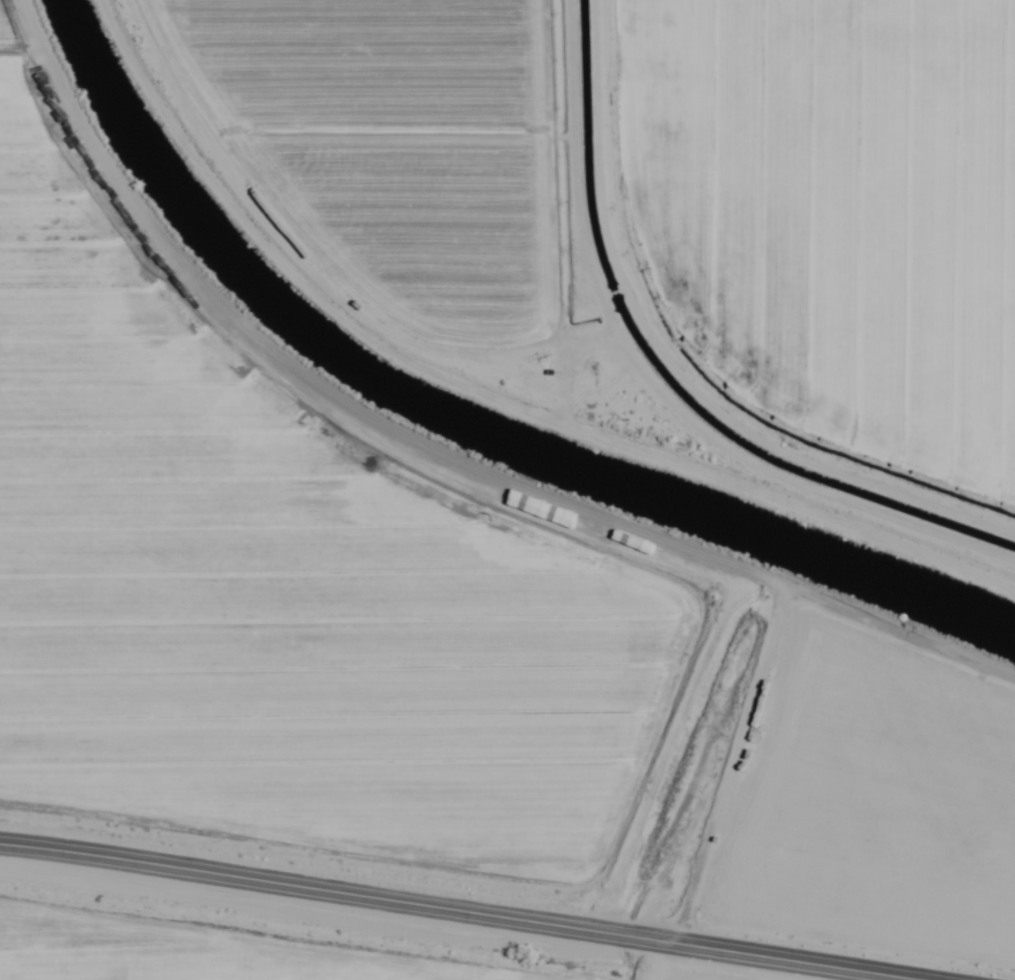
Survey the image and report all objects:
road: (491, 386)
road: (445, 913)

